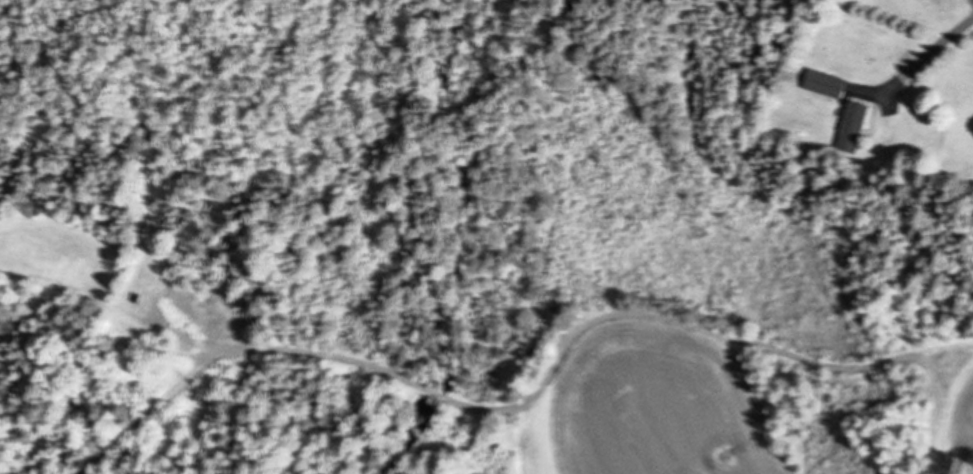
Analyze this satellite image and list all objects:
building: (822, 83)
building: (850, 126)

